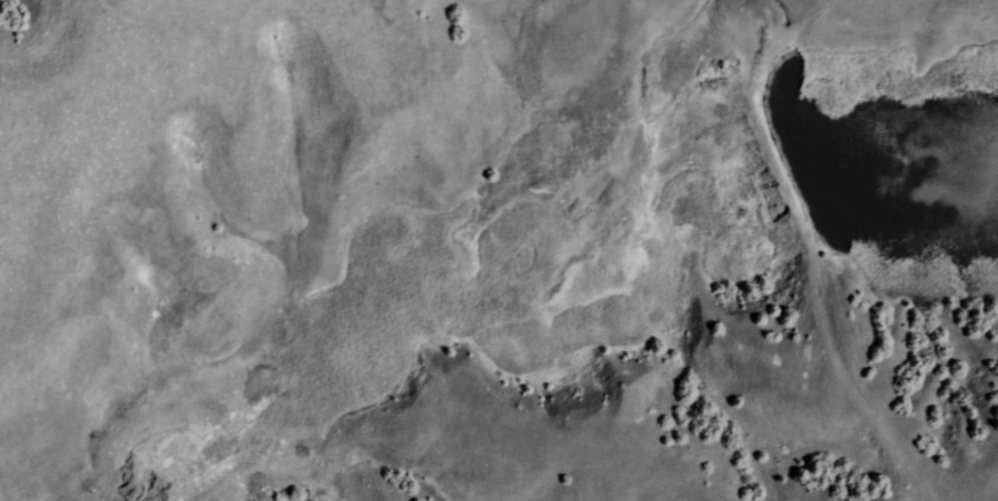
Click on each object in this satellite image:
dam: (791, 200)
road: (806, 254)

